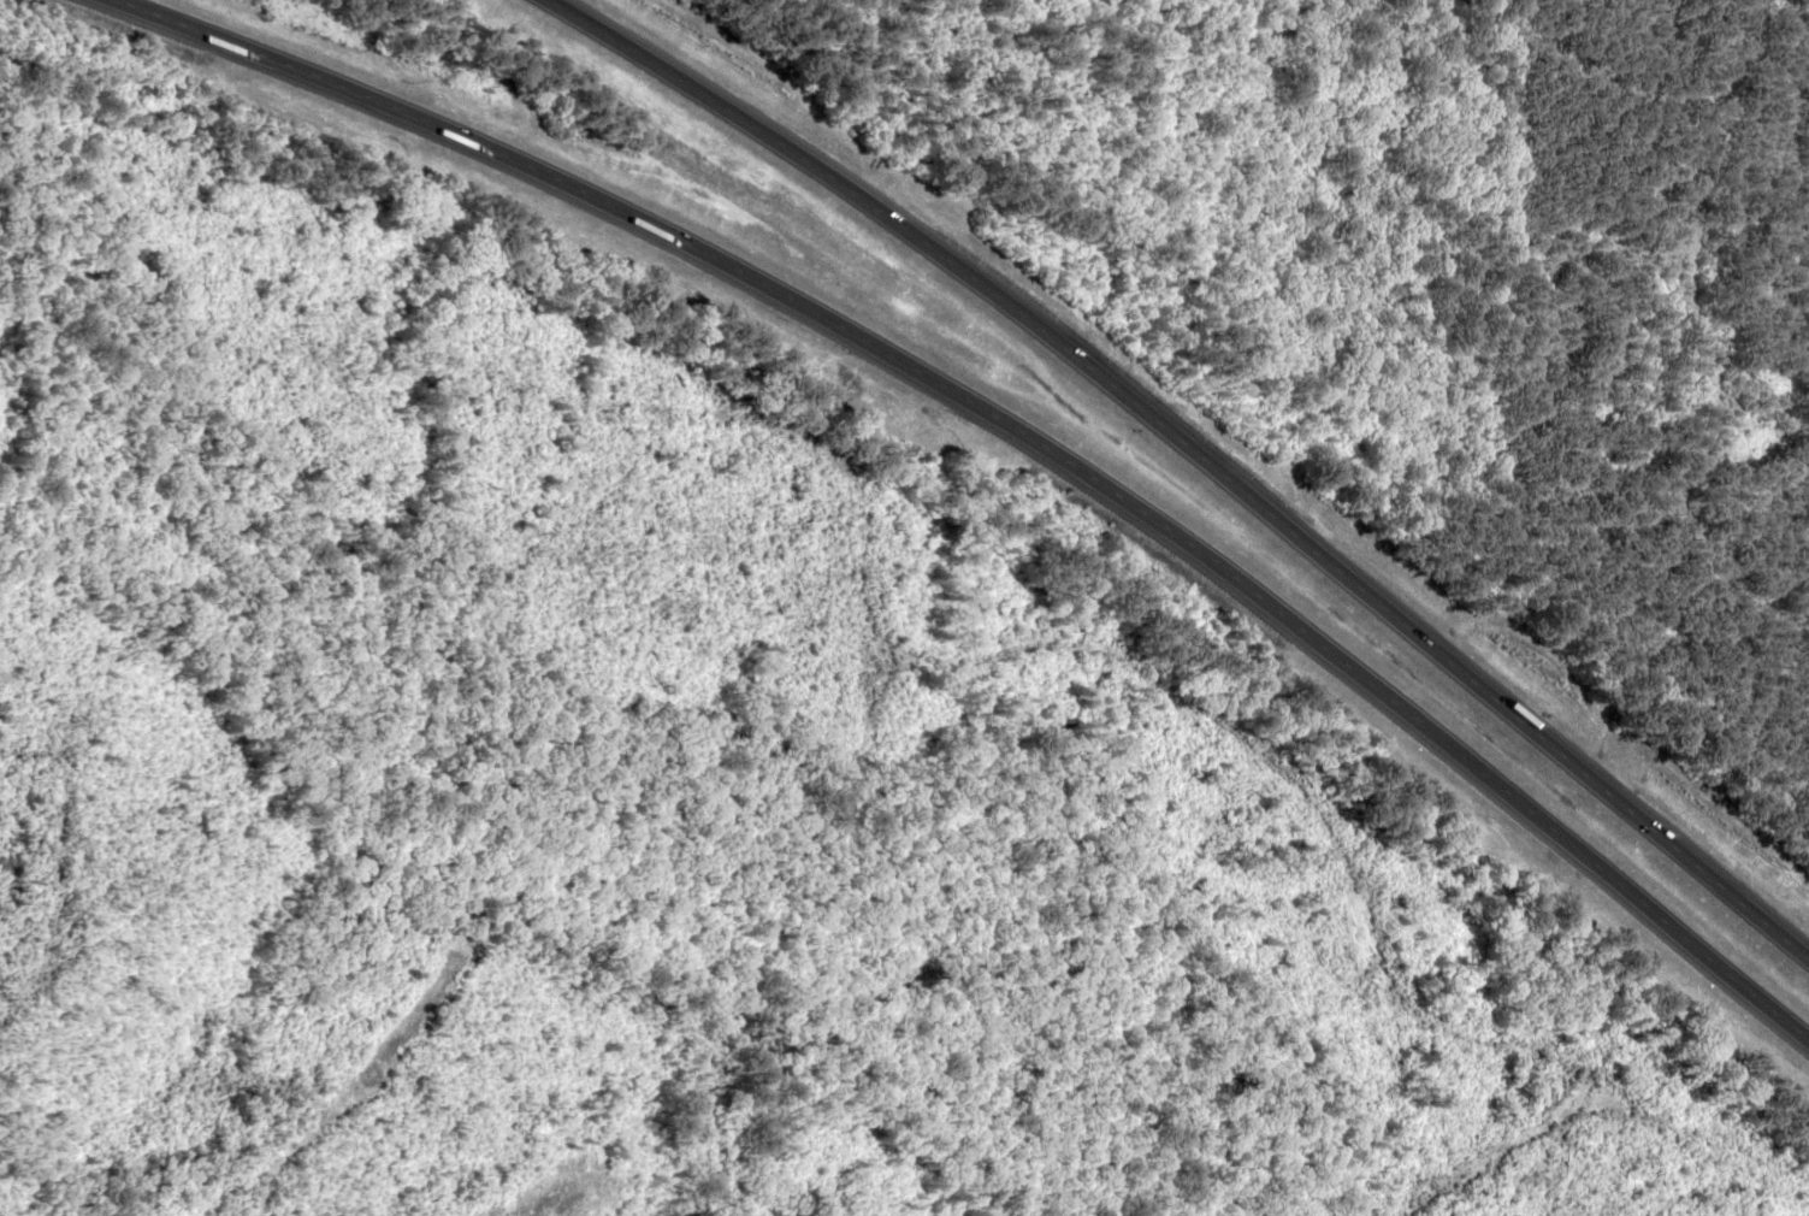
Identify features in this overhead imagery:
road: (1013, 429)
road: (1190, 451)

